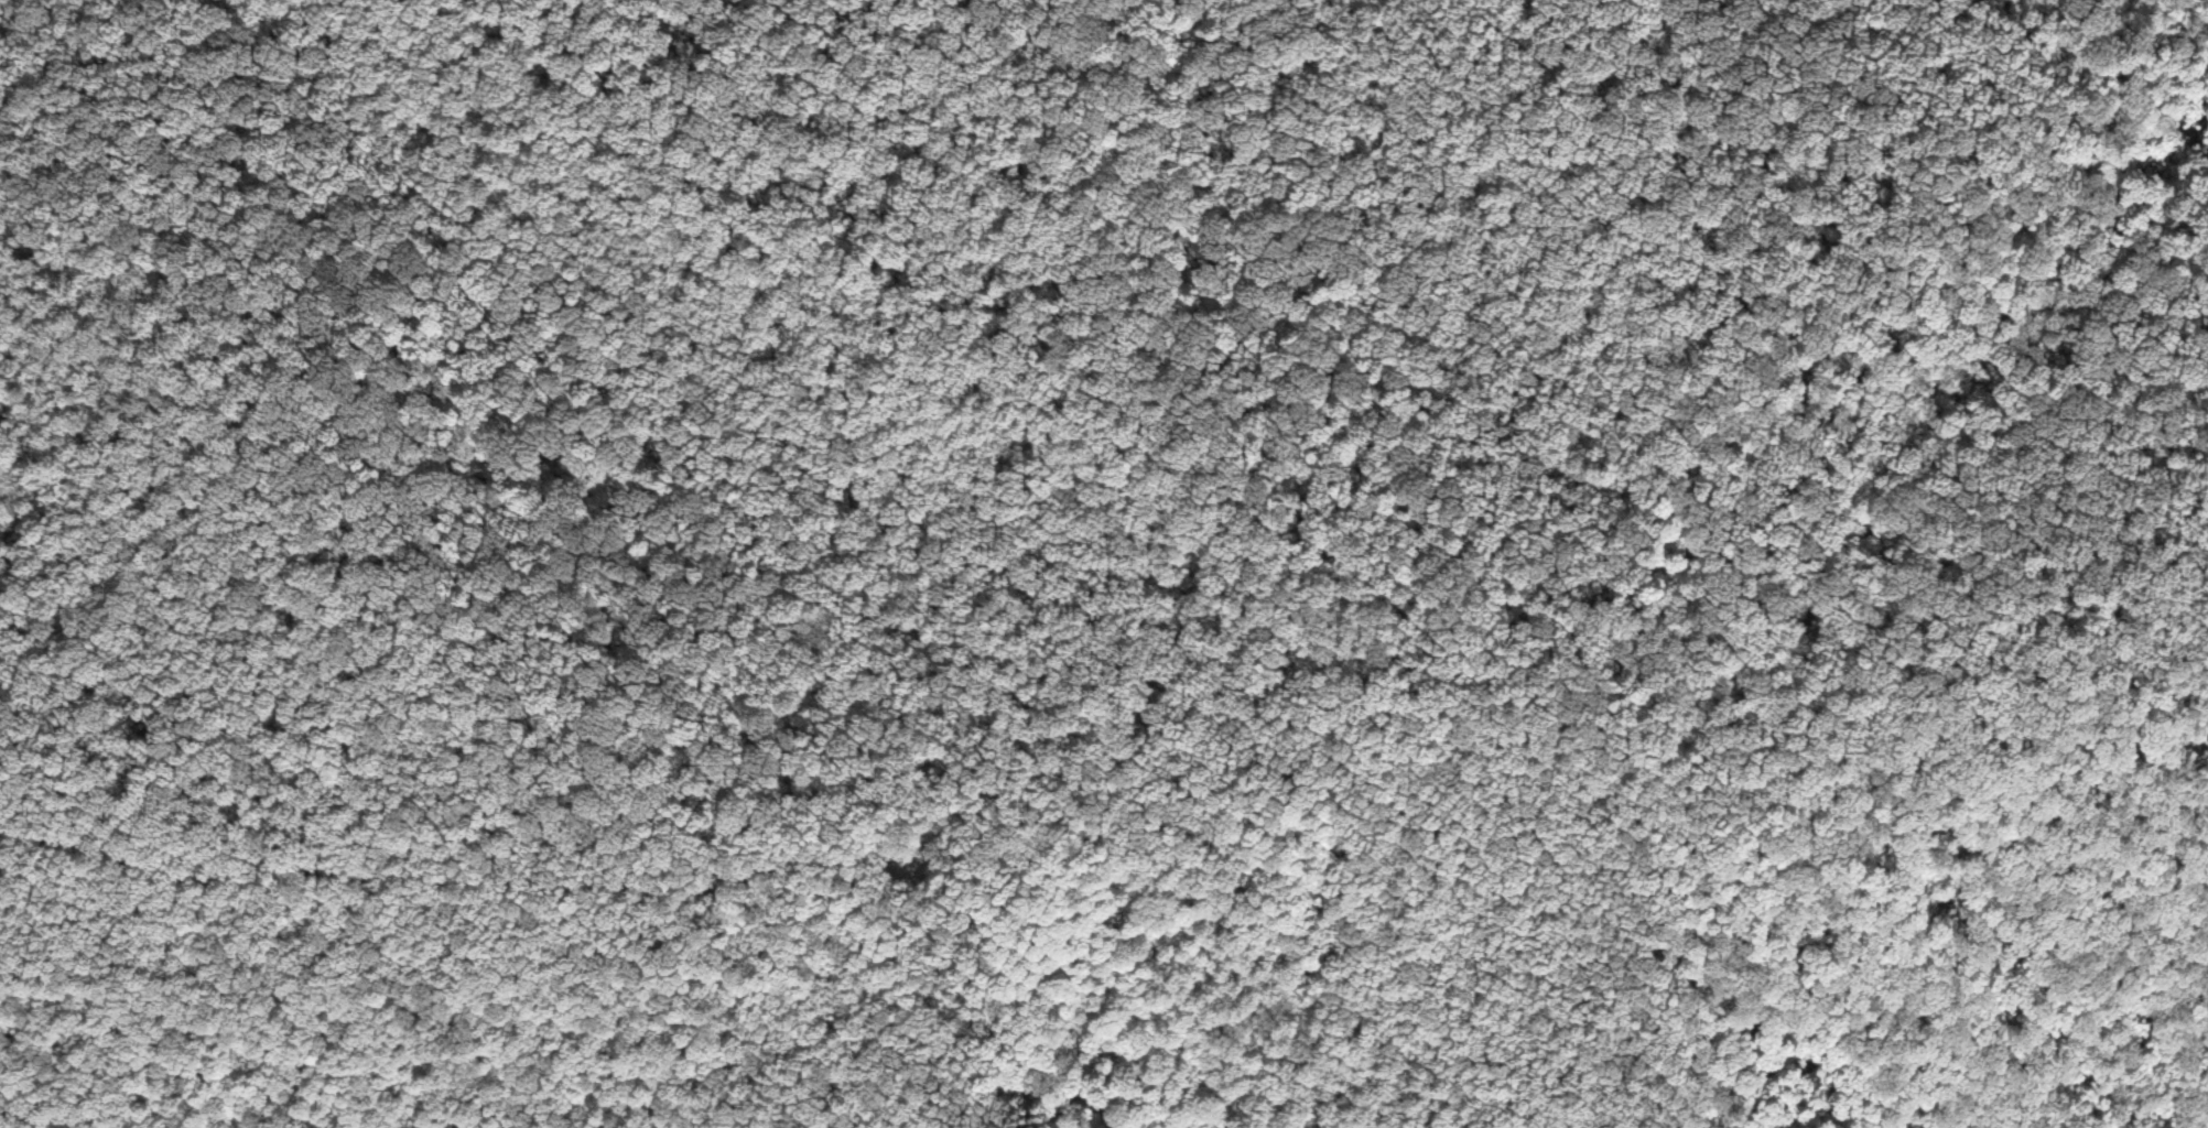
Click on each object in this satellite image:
road: (561, 888)

